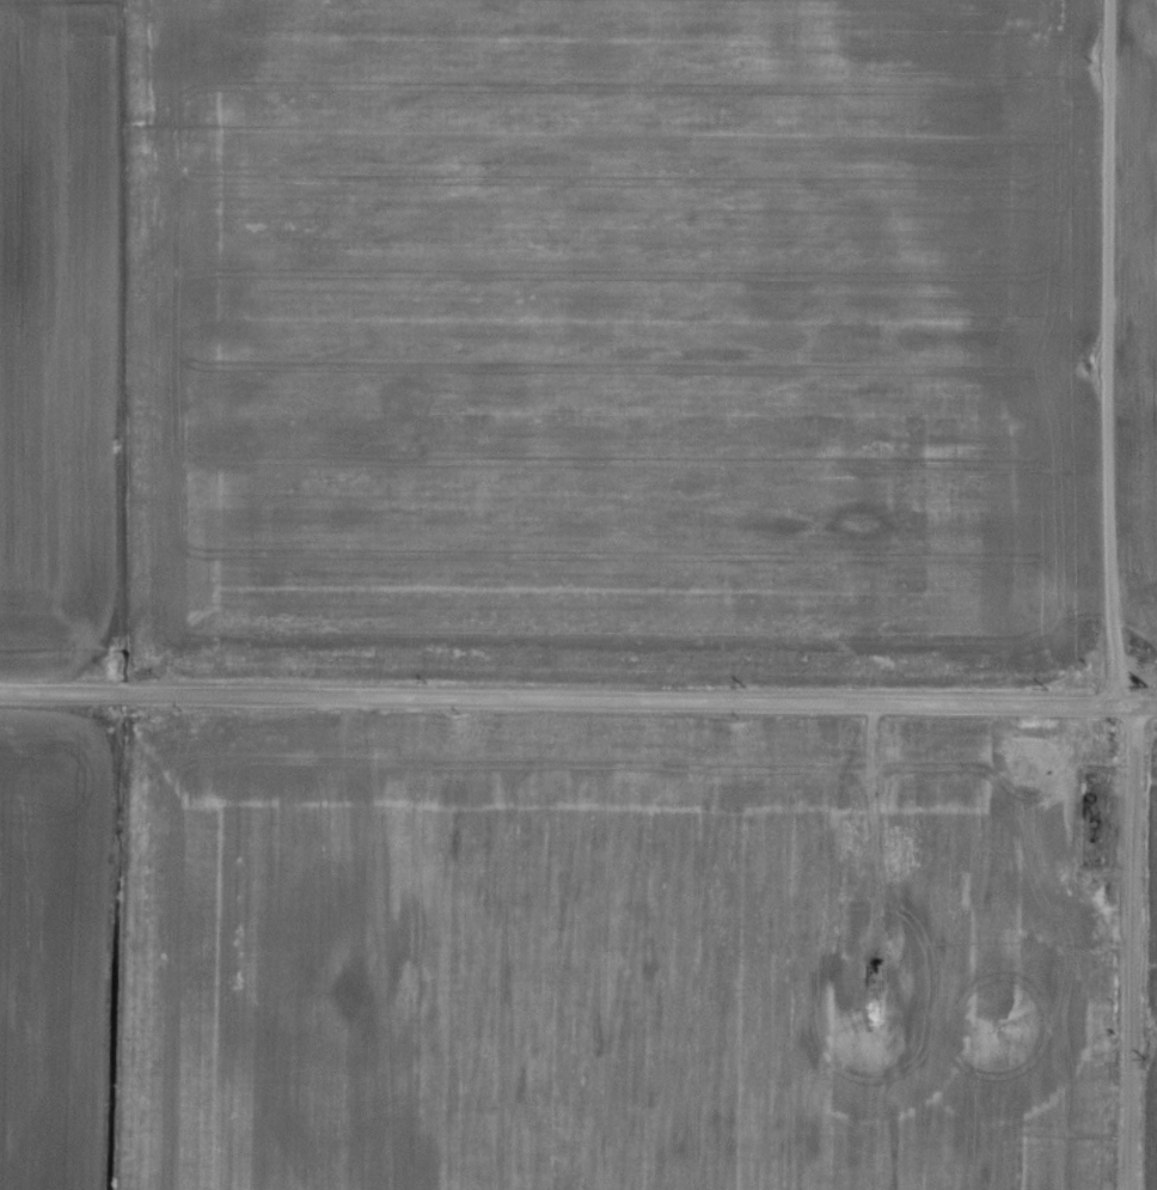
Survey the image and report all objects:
road: (1107, 352)
road: (578, 697)
road: (1134, 947)

